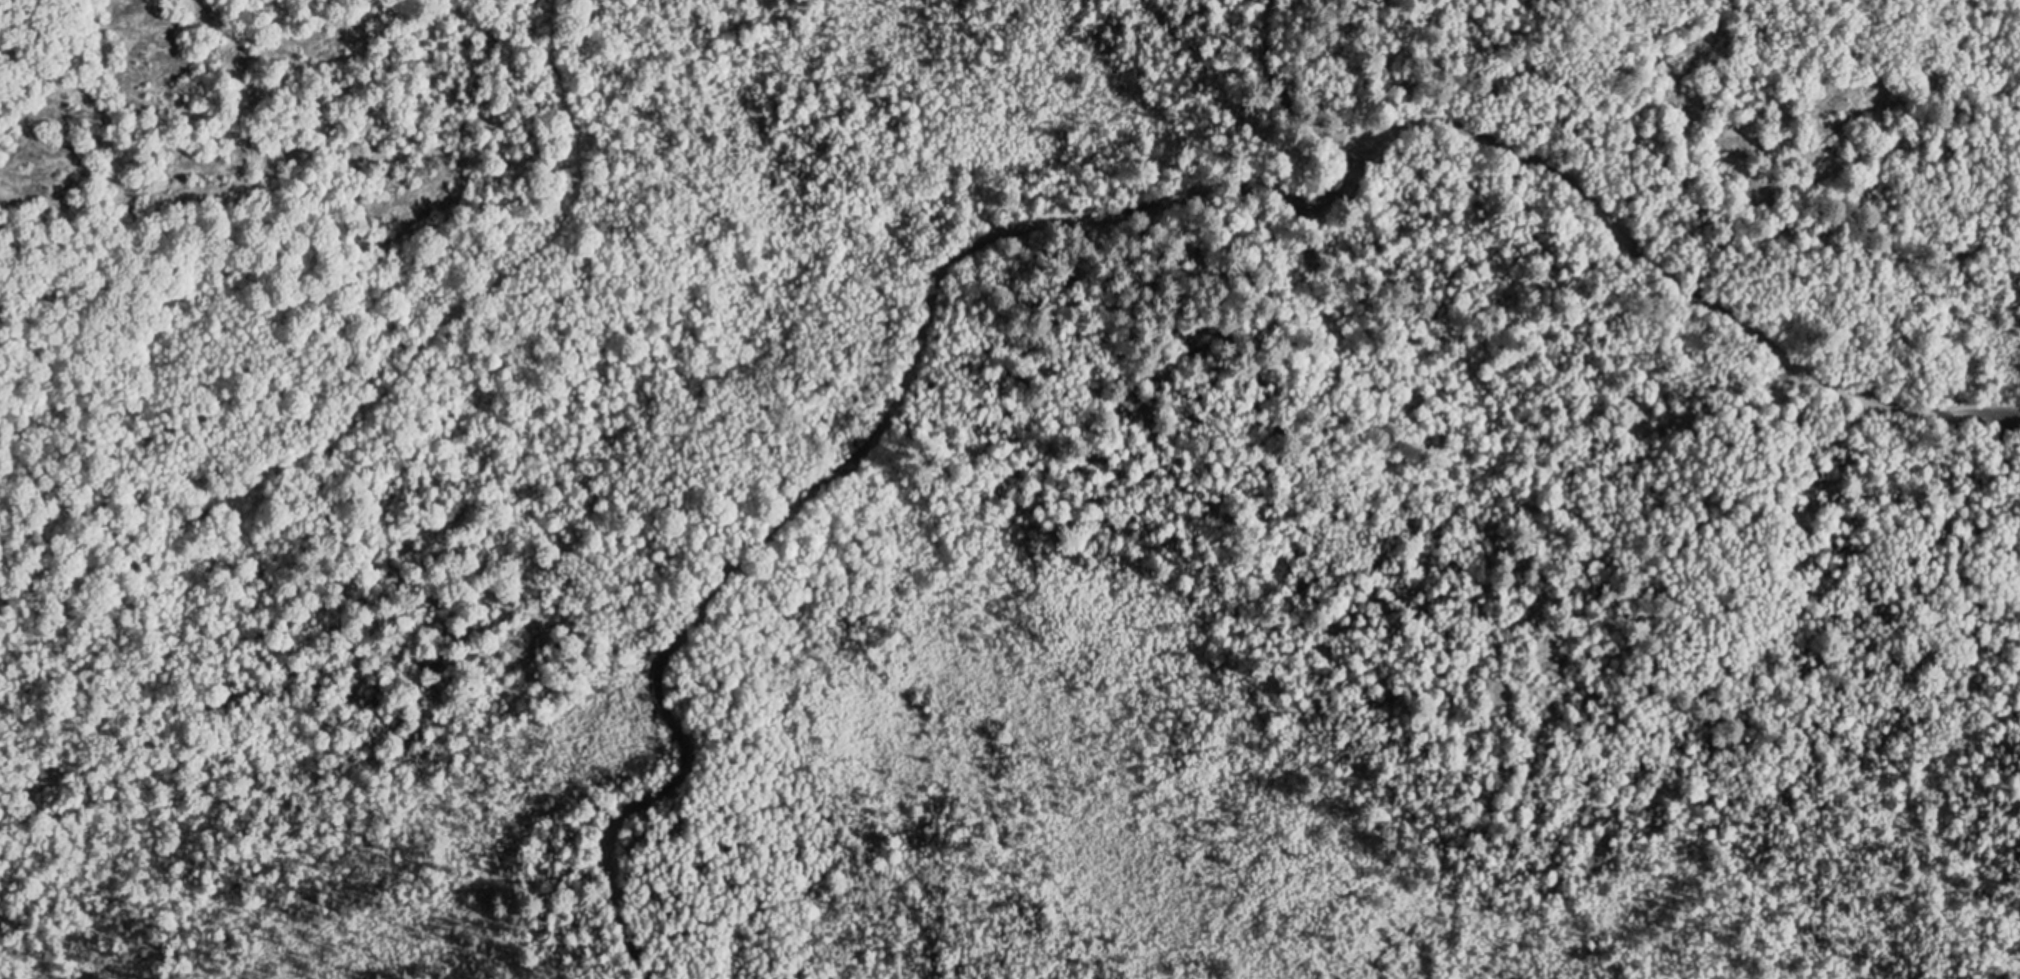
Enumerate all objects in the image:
road: (1609, 217)
road: (875, 442)

